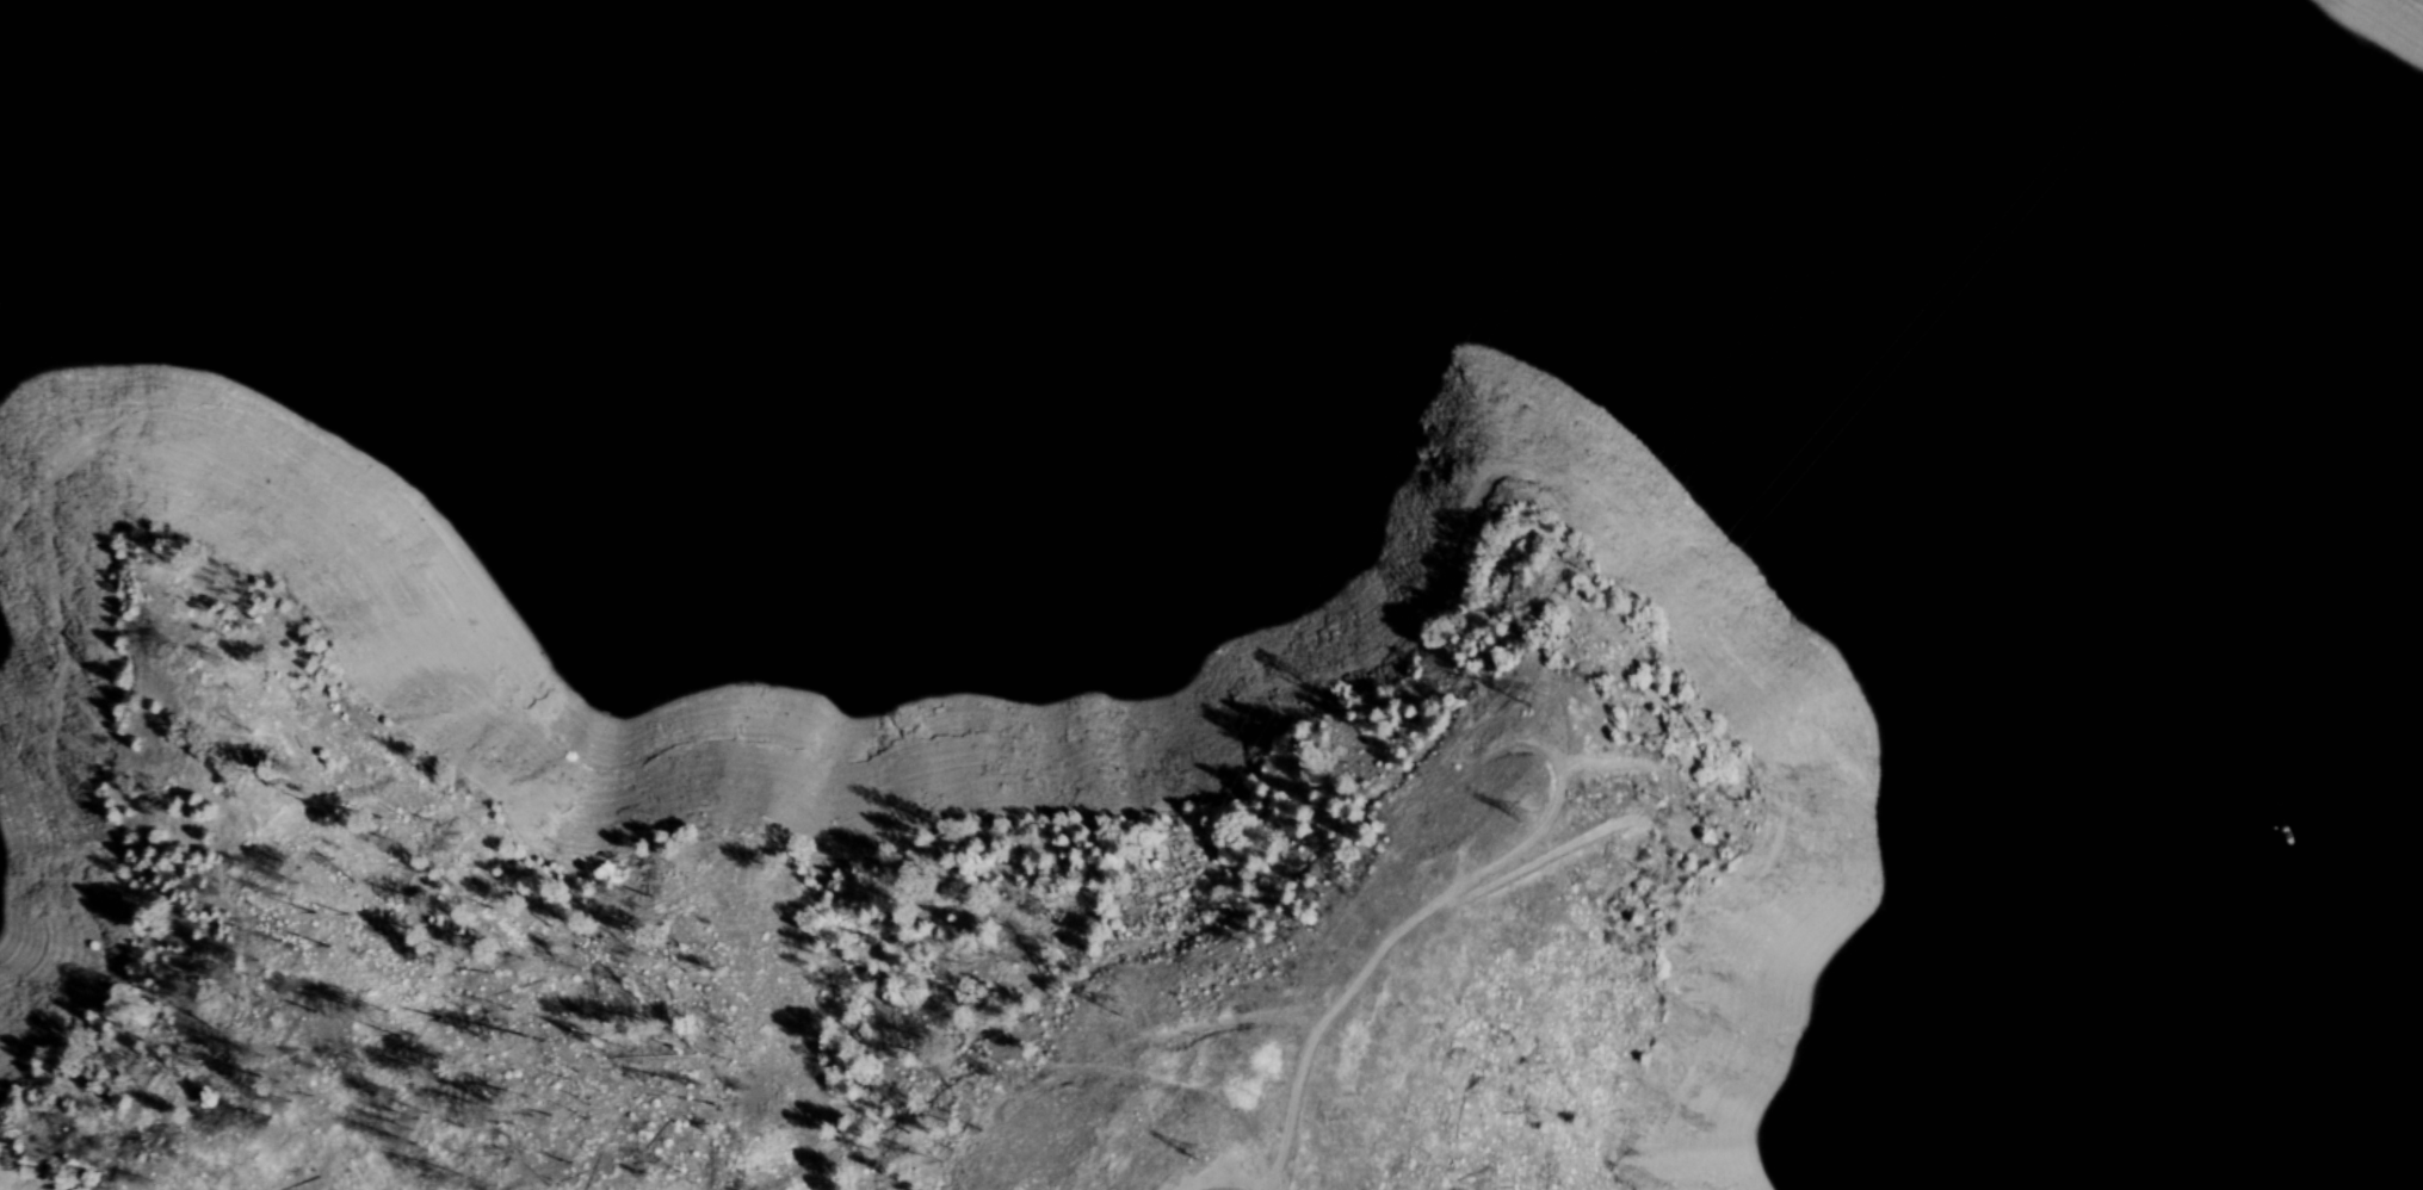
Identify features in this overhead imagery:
river: (234, 92)
river: (1940, 595)
power tower: (1596, 634)
power tower: (1569, 766)
power tower: (1154, 978)
power tower: (1240, 1116)

